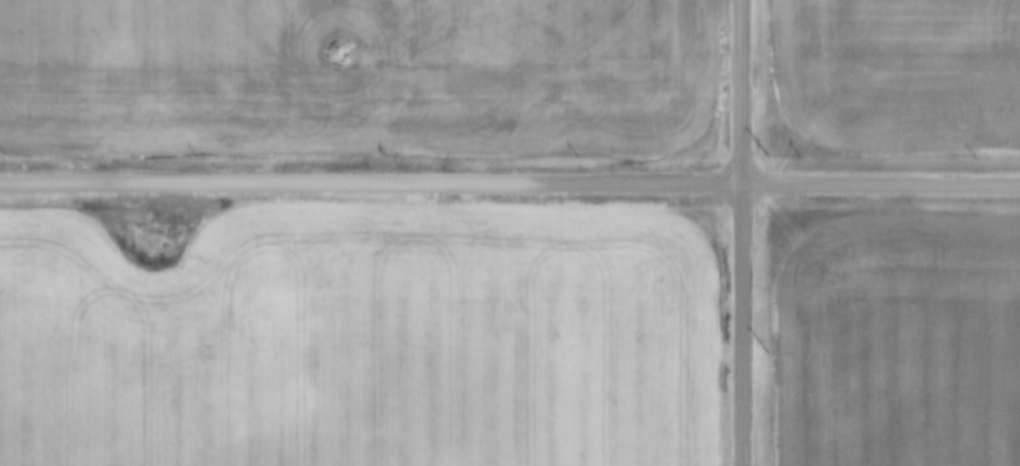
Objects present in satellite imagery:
road: (509, 182)
road: (740, 233)

